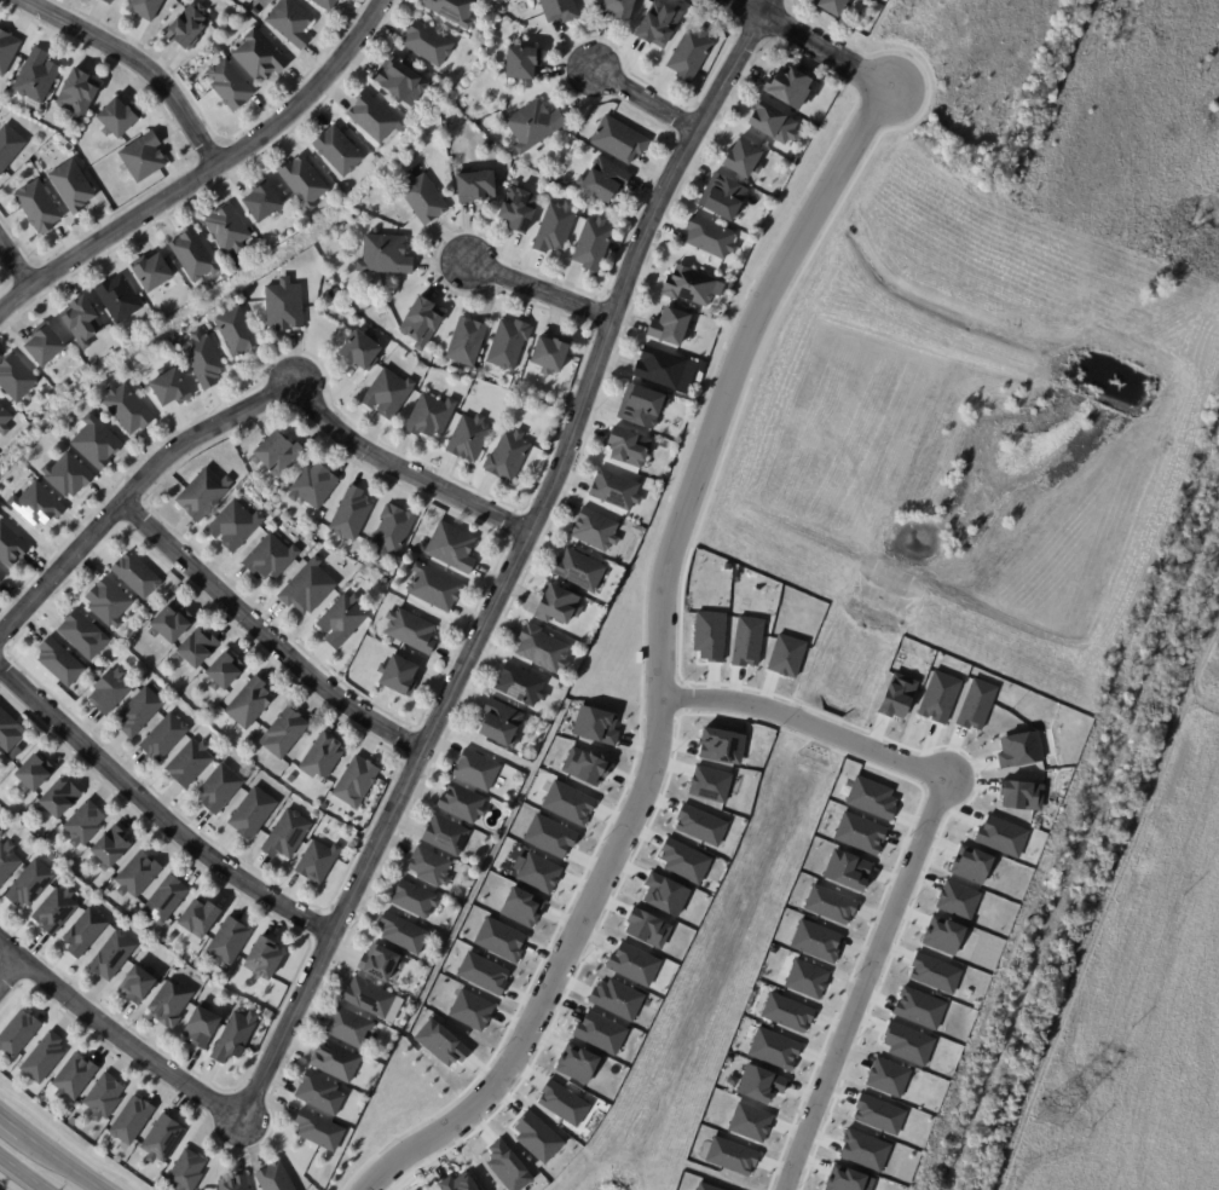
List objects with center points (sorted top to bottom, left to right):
building: (337, 0)
building: (105, 1)
building: (324, 4)
building: (831, 6)
building: (617, 7)
building: (144, 8)
building: (451, 10)
building: (557, 10)
building: (255, 12)
building: (289, 22)
building: (658, 24)
building: (187, 28)
building: (427, 44)
road: (814, 44)
building: (6, 50)
building: (689, 53)
building: (258, 56)
building: (520, 60)
road: (134, 63)
building: (35, 76)
building: (399, 81)
building: (229, 85)
building: (787, 86)
building: (76, 93)
road: (643, 98)
building: (371, 117)
building: (116, 119)
building: (772, 122)
building: (532, 125)
building: (618, 139)
building: (8, 146)
building: (336, 150)
park: (1069, 156)
building: (141, 157)
building: (741, 158)
building: (795, 158)
road: (204, 174)
building: (605, 179)
building: (301, 180)
building: (70, 186)
building: (474, 186)
building: (723, 197)
building: (421, 198)
building: (261, 202)
building: (36, 207)
building: (519, 210)
building: (555, 227)
building: (225, 229)
building: (709, 237)
building: (249, 242)
building: (593, 243)
building: (192, 254)
building: (385, 254)
road: (15, 266)
building: (151, 272)
building: (691, 285)
building: (730, 285)
building: (197, 291)
road: (538, 293)
building: (340, 294)
building: (117, 299)
building: (283, 305)
building: (80, 320)
building: (420, 322)
building: (670, 327)
building: (233, 331)
building: (466, 341)
building: (508, 345)
building: (44, 346)
building: (359, 352)
building: (550, 353)
building: (202, 359)
building: (669, 370)
building: (15, 380)
building: (168, 386)
building: (387, 394)
building: (641, 406)
building: (123, 408)
road: (245, 409)
building: (429, 416)
building: (2, 421)
building: (468, 439)
building: (94, 443)
building: (628, 447)
building: (276, 454)
building: (507, 457)
building: (67, 475)
building: (313, 485)
building: (614, 490)
building: (201, 495)
building: (35, 506)
building: (351, 515)
building: (233, 526)
building: (595, 530)
building: (393, 531)
building: (10, 547)
building: (451, 548)
building: (268, 559)
building: (421, 559)
road: (513, 564)
building: (578, 571)
building: (133, 574)
building: (1, 577)
building: (383, 580)
building: (306, 588)
building: (433, 588)
building: (108, 602)
building: (557, 606)
building: (341, 622)
building: (169, 624)
building: (410, 631)
building: (711, 635)
building: (81, 636)
road: (265, 637)
building: (749, 641)
building: (195, 649)
building: (542, 649)
building: (787, 655)
building: (59, 663)
road: (660, 664)
building: (221, 672)
building: (398, 676)
building: (519, 686)
building: (108, 692)
building: (901, 694)
building: (940, 697)
building: (249, 704)
building: (977, 704)
building: (139, 712)
road: (807, 722)
building: (597, 723)
building: (499, 726)
building: (7, 732)
building: (283, 734)
building: (162, 738)
building: (722, 745)
building: (1022, 749)
building: (320, 758)
building: (187, 764)
building: (587, 766)
building: (474, 770)
building: (30, 775)
building: (711, 782)
building: (353, 784)
building: (216, 790)
building: (1023, 793)
building: (873, 798)
building: (56, 801)
building: (570, 803)
building: (461, 804)
building: (324, 807)
building: (250, 814)
road: (155, 816)
building: (82, 824)
building: (701, 824)
building: (0, 828)
building: (862, 833)
building: (285, 834)
building: (551, 834)
building: (1004, 834)
building: (445, 836)
building: (109, 848)
building: (48, 857)
building: (684, 860)
building: (6, 861)
building: (316, 862)
building: (976, 865)
building: (429, 867)
building: (849, 870)
building: (541, 873)
building: (135, 876)
building: (28, 884)
building: (665, 892)
building: (959, 899)
building: (412, 900)
building: (162, 901)
building: (832, 903)
building: (524, 906)
building: (53, 912)
building: (198, 918)
building: (649, 925)
building: (83, 932)
building: (401, 934)
building: (946, 936)
building: (502, 938)
building: (818, 940)
building: (226, 943)
building: (110, 958)
building: (262, 959)
building: (634, 964)
building: (380, 965)
road: (8, 967)
building: (484, 971)
building: (936, 972)
building: (808, 977)
road: (865, 982)
building: (137, 986)
building: (369, 998)
building: (617, 998)
building: (168, 1005)
building: (920, 1007)
building: (473, 1010)
building: (790, 1011)
building: (202, 1027)
building: (347, 1028)
building: (601, 1032)
building: (17, 1034)
road: (119, 1035)
building: (233, 1038)
building: (443, 1042)
building: (909, 1042)
building: (253, 1049)
building: (776, 1049)
building: (42, 1059)
building: (335, 1062)
building: (579, 1064)
building: (890, 1076)
building: (71, 1079)
building: (762, 1084)
building: (319, 1093)
building: (103, 1097)
building: (564, 1102)
building: (880, 1114)
power tower: (1056, 1114)
building: (131, 1121)
building: (751, 1121)
building: (73, 1122)
building: (318, 1131)
building: (538, 1136)
building: (161, 1139)
building: (866, 1149)
road: (50, 1154)
building: (733, 1155)
building: (509, 1166)
road: (22, 1172)
building: (185, 1172)
building: (273, 1178)
building: (851, 1180)
building: (235, 1184)
building: (458, 1184)
building: (707, 1186)

